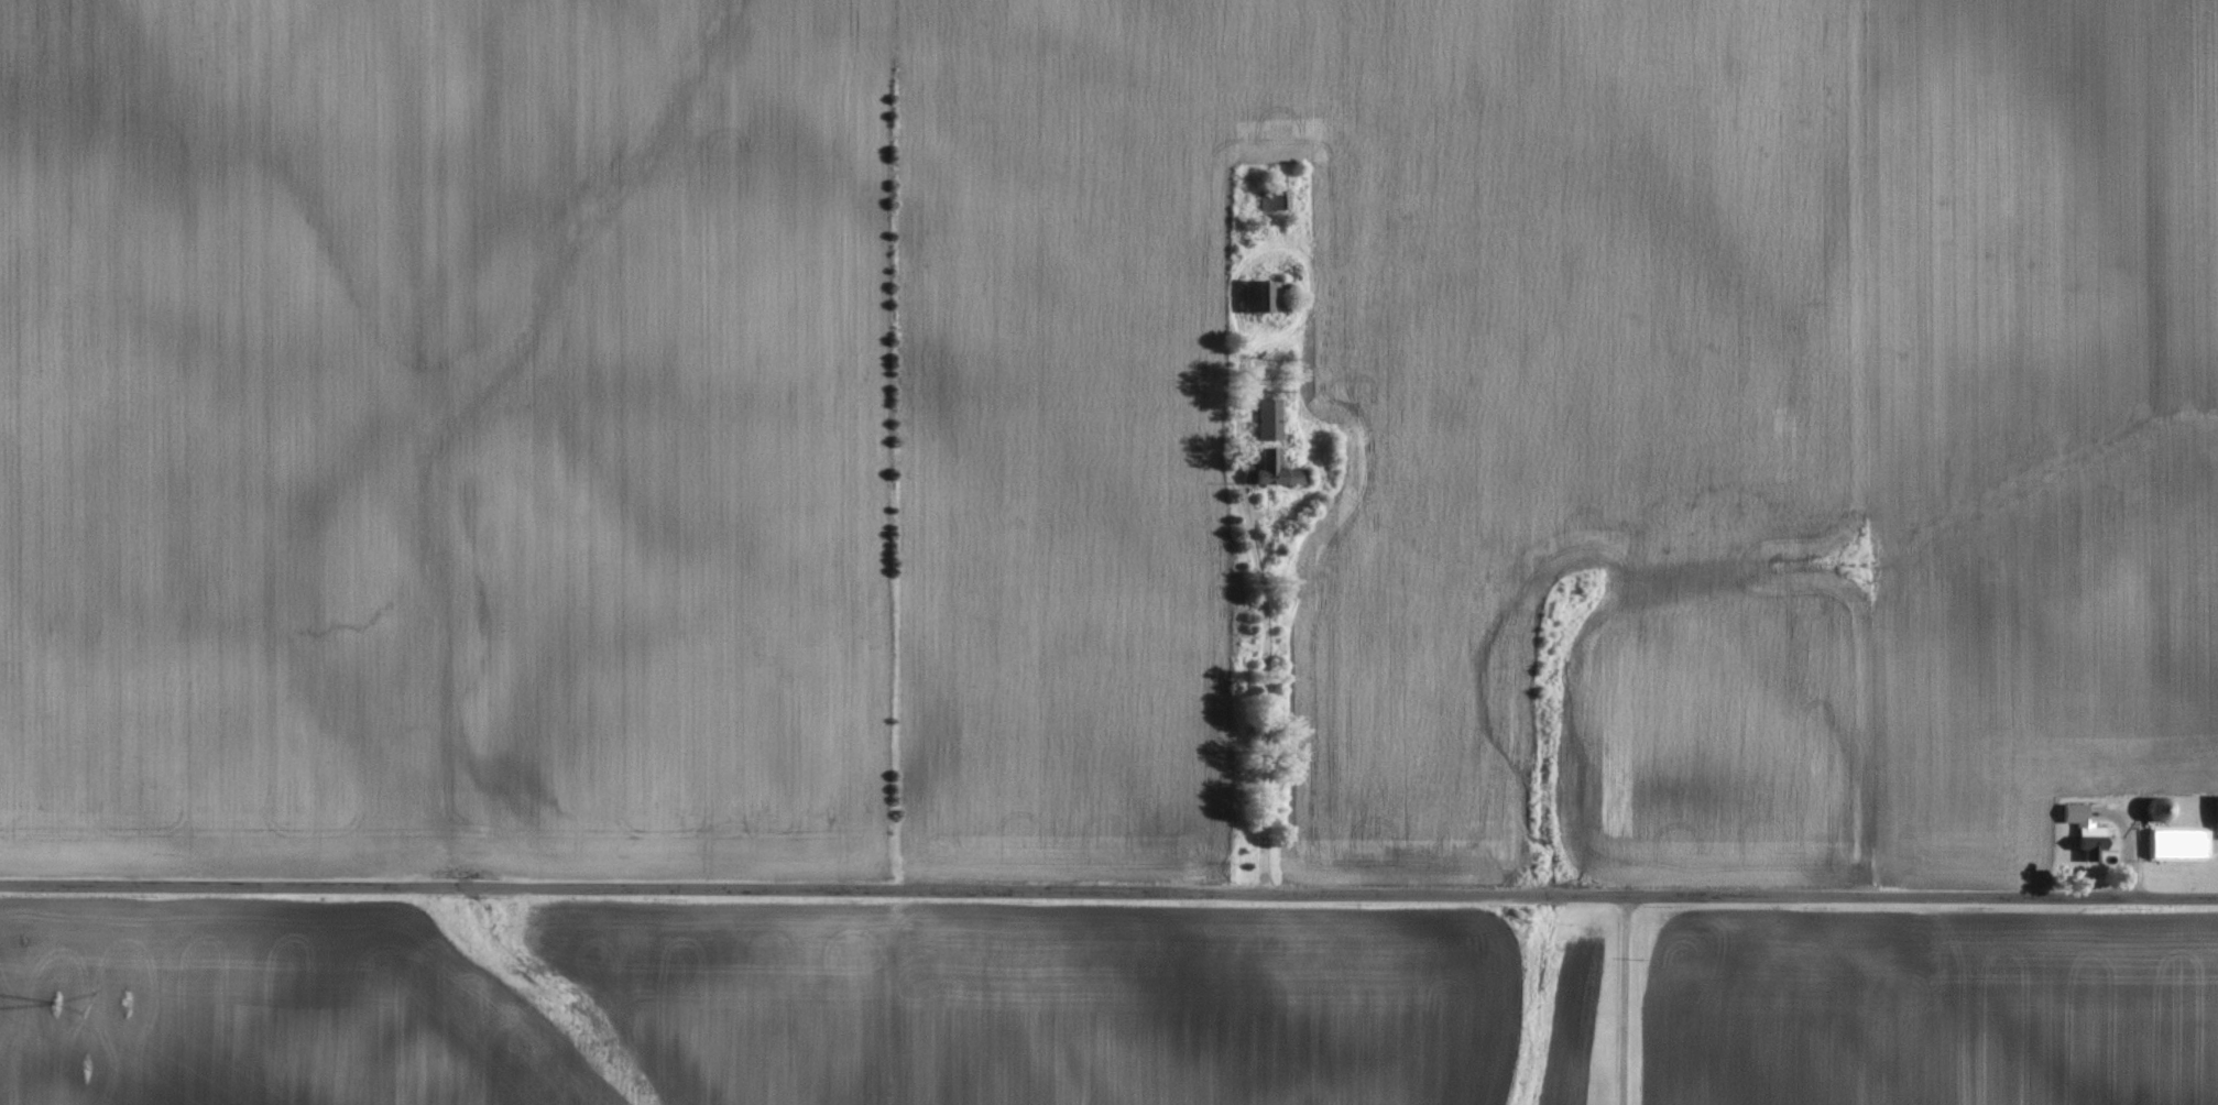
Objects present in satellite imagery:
building: (1271, 418)
road: (1260, 639)
building: (2211, 820)
building: (2172, 845)
road: (1108, 894)
road: (1622, 1000)
power tower: (52, 1003)

